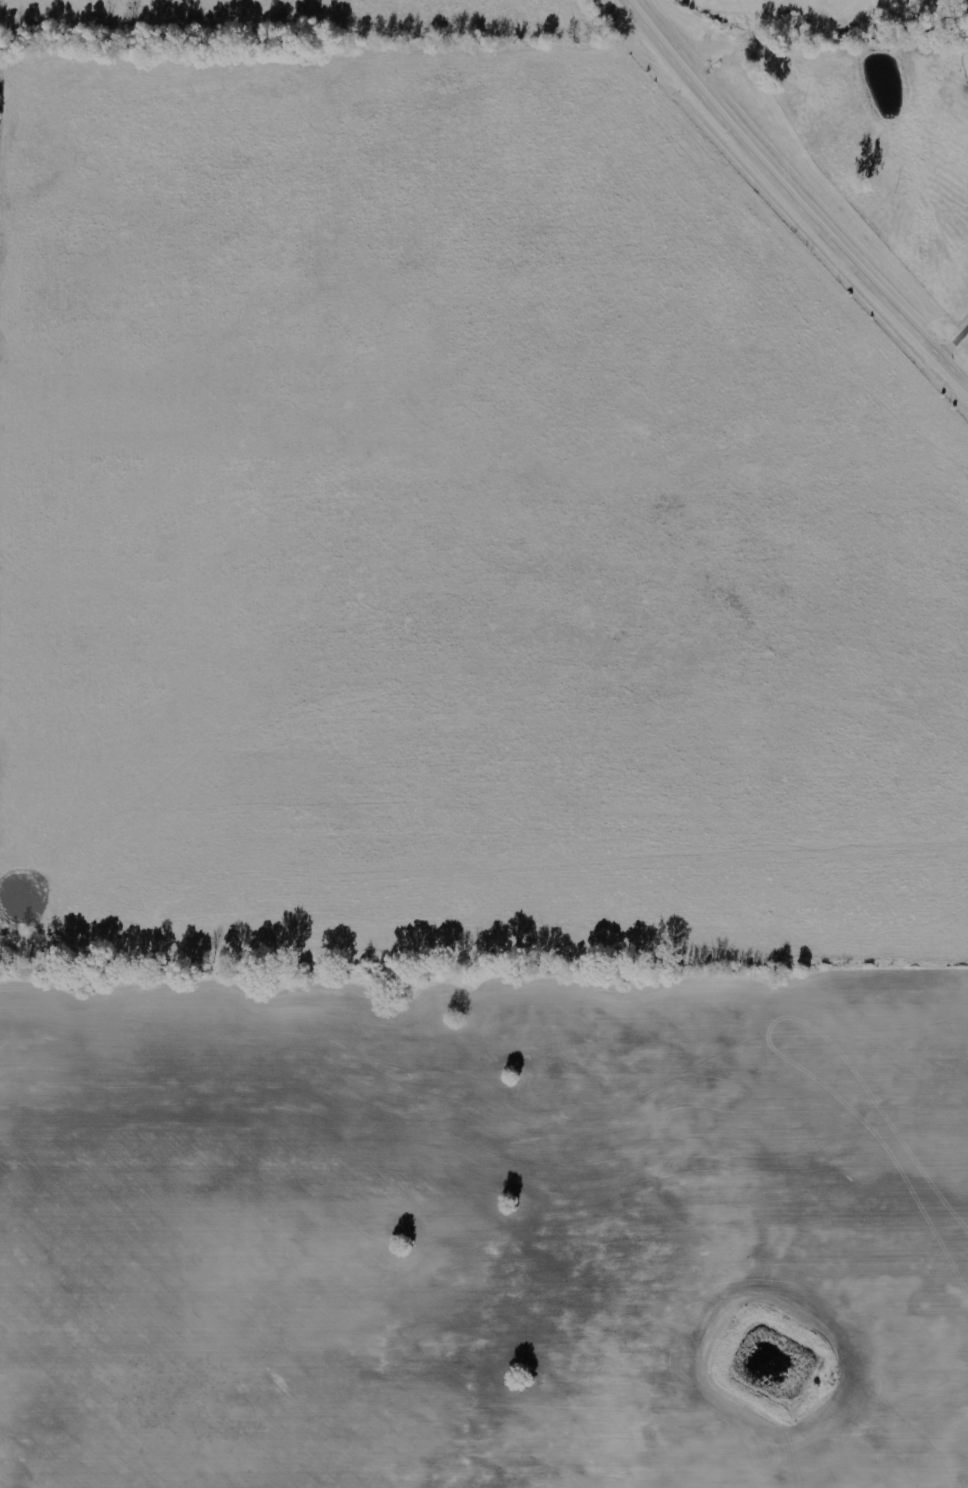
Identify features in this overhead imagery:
road: (791, 198)

